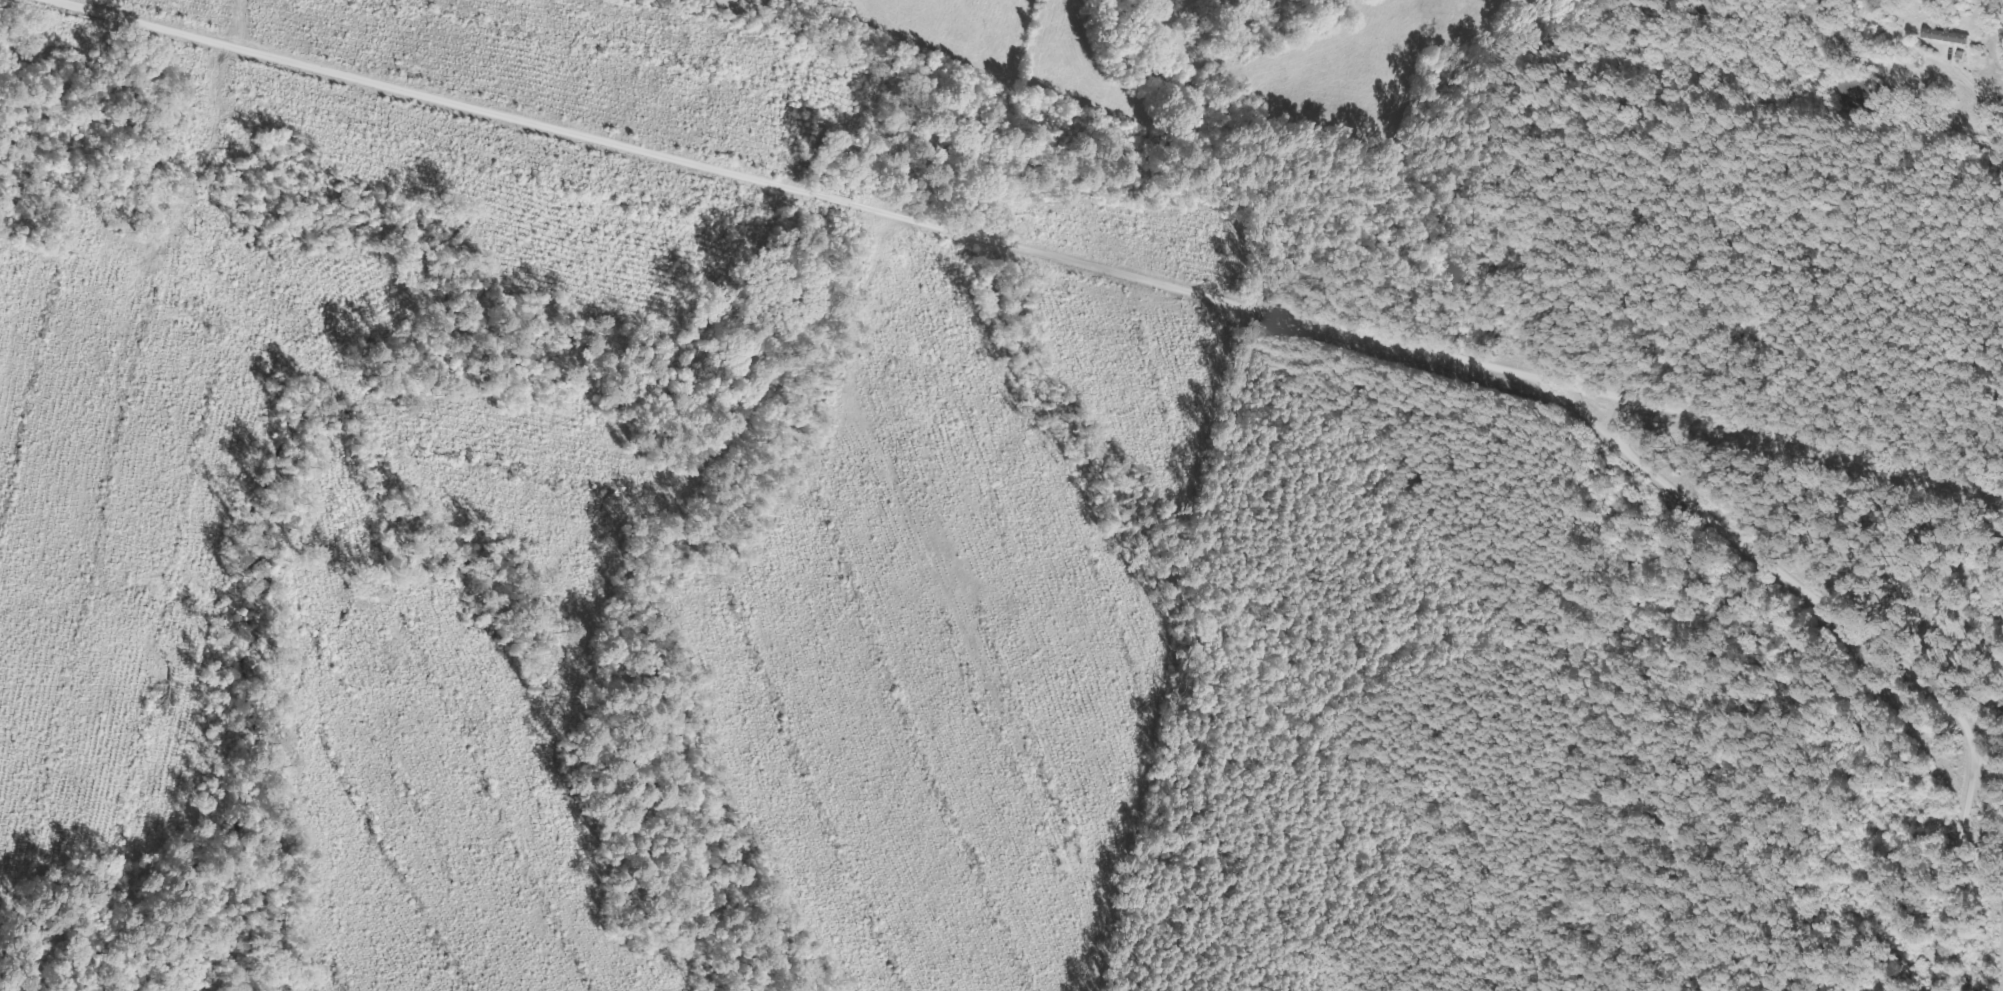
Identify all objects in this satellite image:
building: (1944, 38)
road: (1020, 247)
road: (1868, 650)

